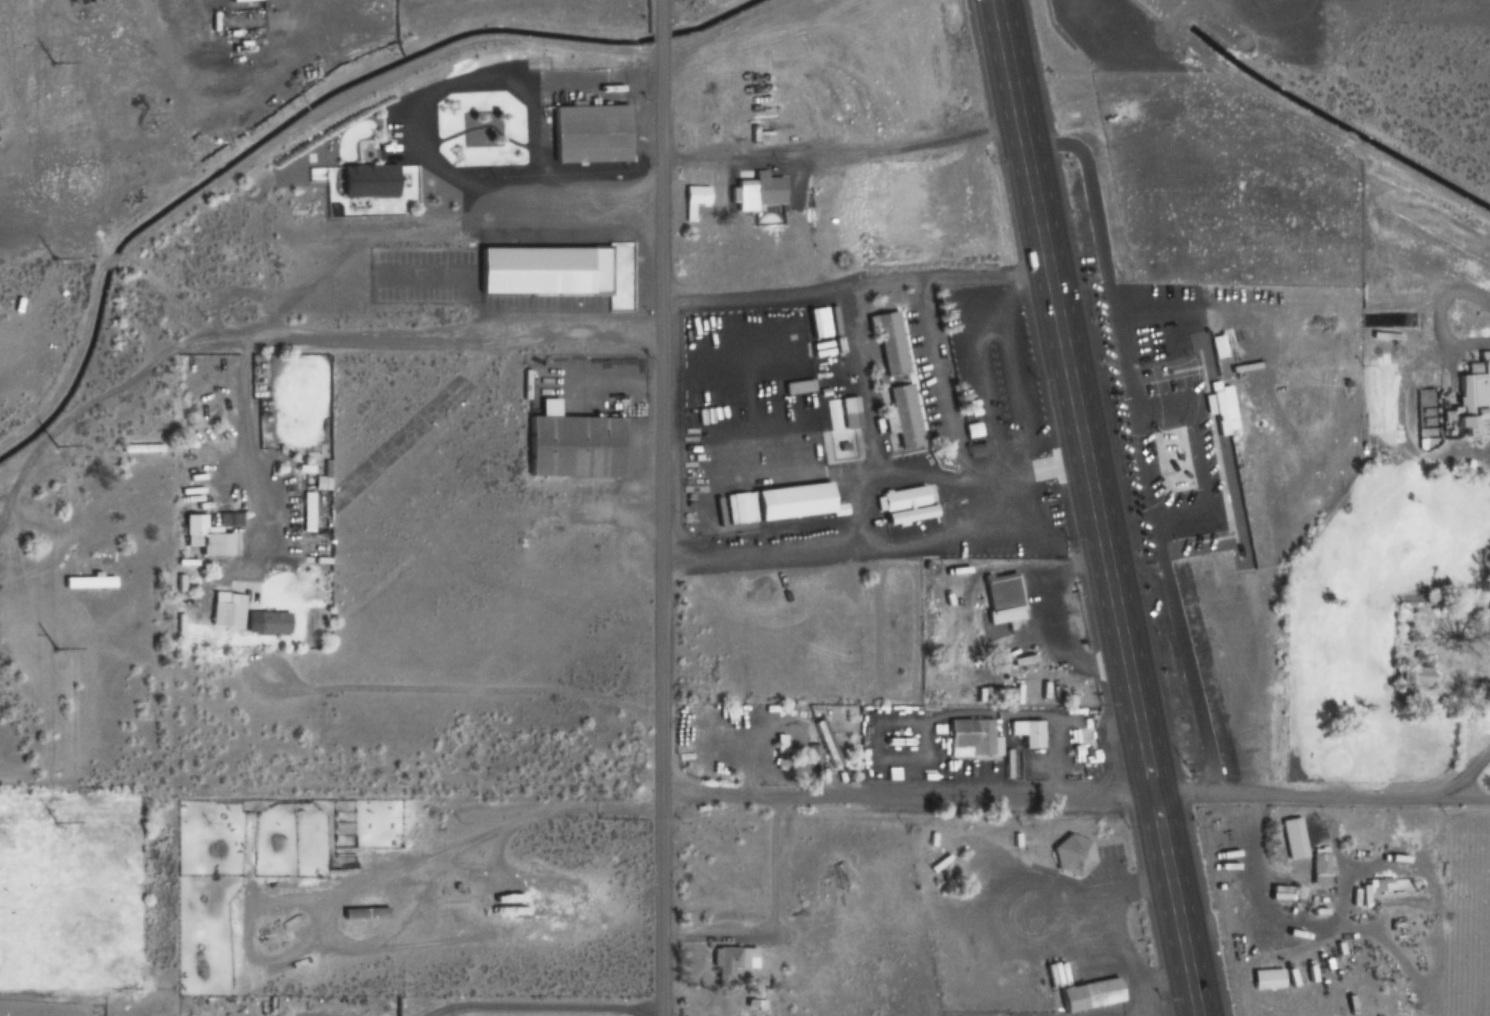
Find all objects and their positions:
building: (588, 134)
road: (717, 159)
building: (369, 180)
building: (756, 191)
building: (693, 199)
building: (793, 217)
building: (222, 267)
building: (543, 270)
road: (855, 280)
building: (889, 344)
building: (1474, 399)
building: (849, 412)
building: (1225, 416)
building: (900, 417)
building: (574, 446)
building: (791, 502)
road: (665, 507)
road: (1092, 508)
building: (316, 511)
building: (907, 513)
building: (191, 531)
road: (886, 543)
building: (88, 582)
building: (1000, 600)
building: (266, 624)
building: (994, 694)
building: (1029, 733)
building: (974, 737)
building: (1079, 746)
building: (827, 747)
building: (867, 760)
road: (1462, 778)
road: (1076, 793)
building: (1292, 832)
building: (1066, 851)
building: (1318, 866)
building: (830, 875)
building: (1371, 884)
road: (1121, 893)
building: (730, 962)
building: (1261, 974)
building: (1083, 990)

